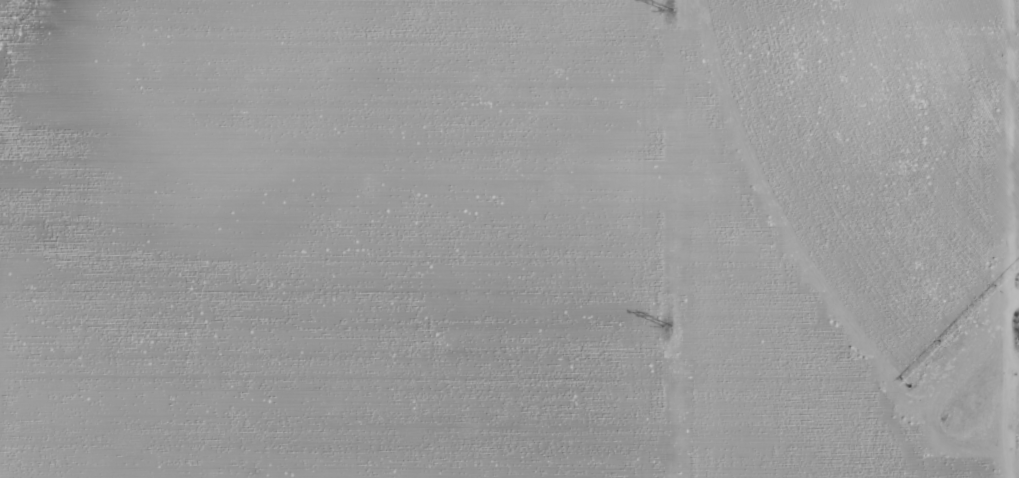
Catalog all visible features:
power tower: (668, 10)
power tower: (667, 327)

